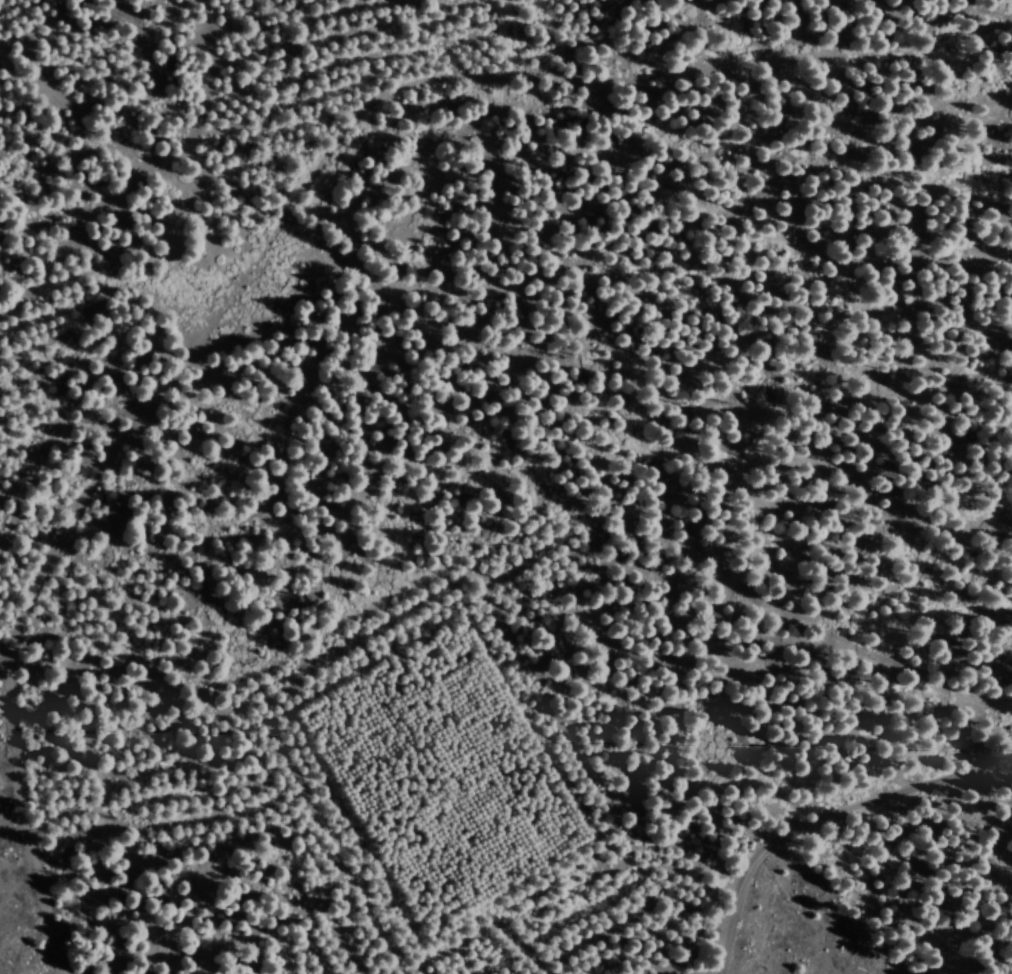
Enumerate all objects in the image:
road: (270, 240)
road: (825, 812)

